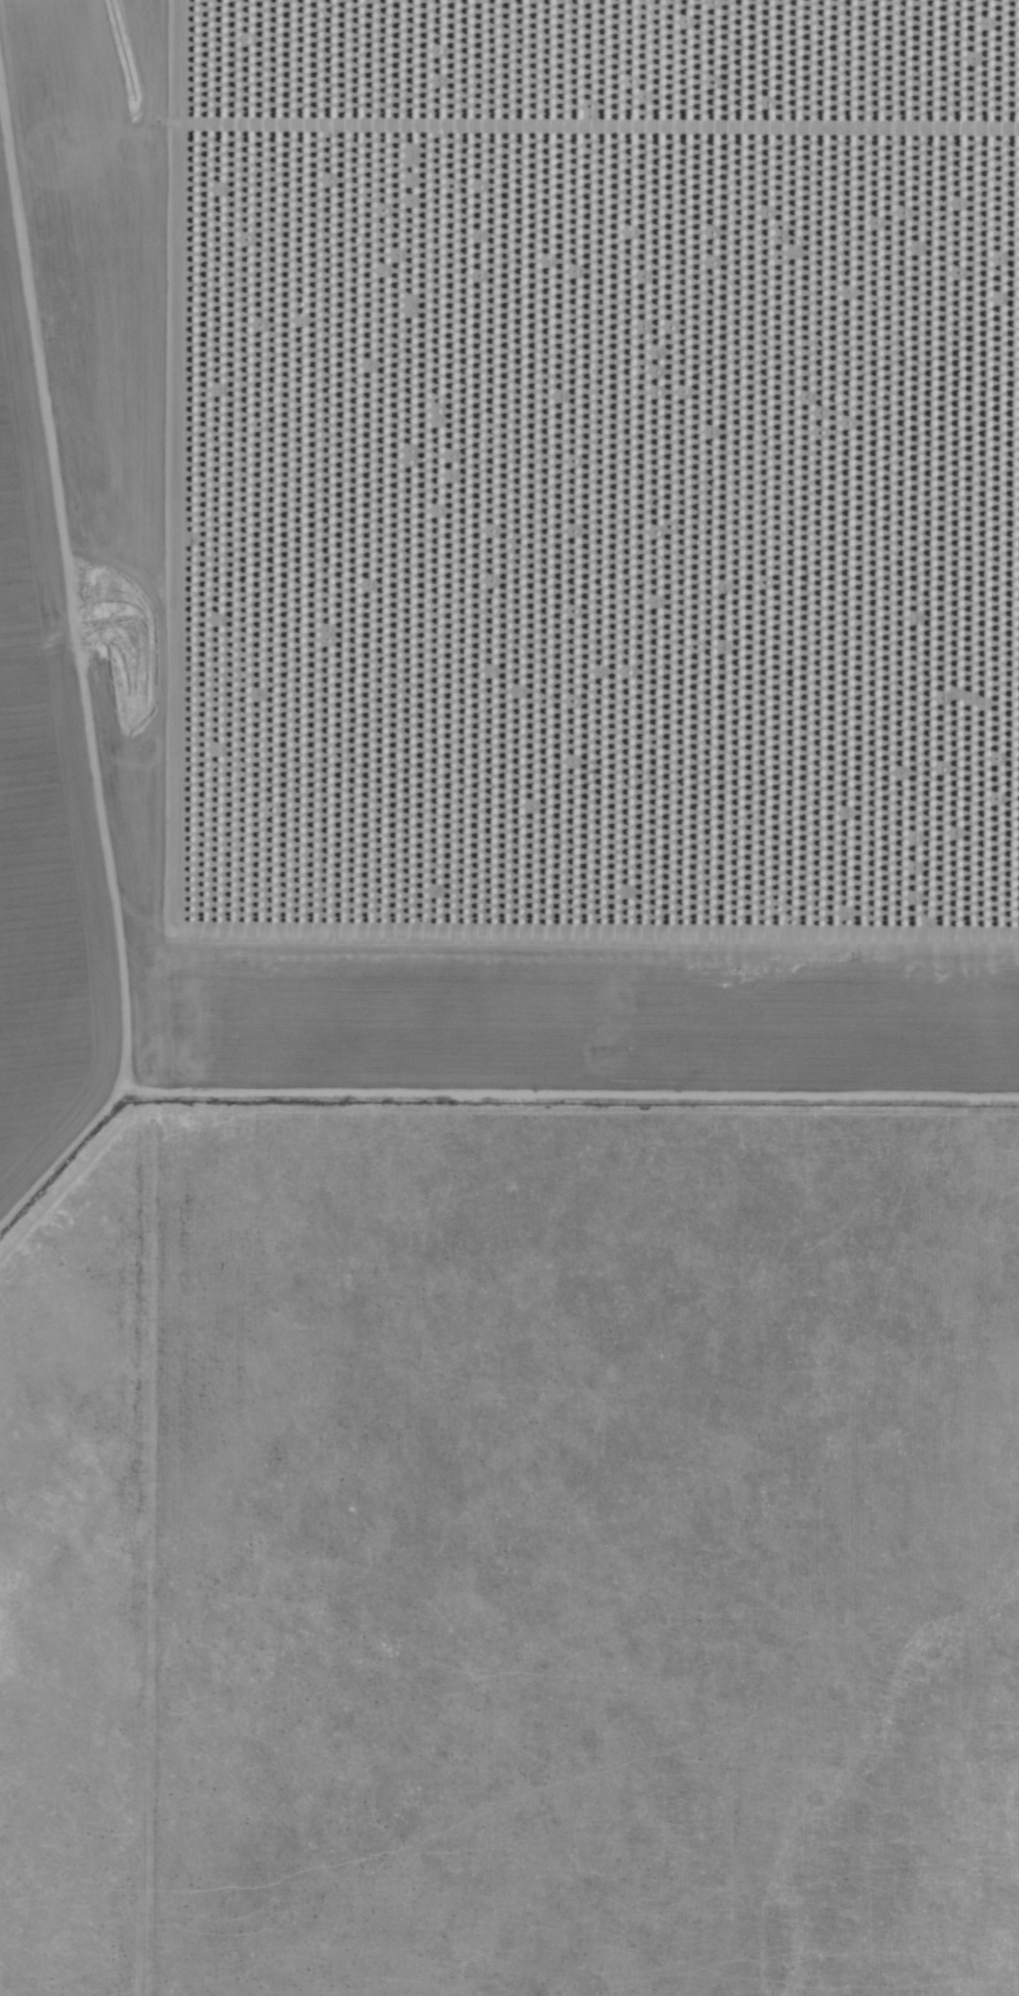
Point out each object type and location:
crop: (548, 502)
road: (162, 1038)

